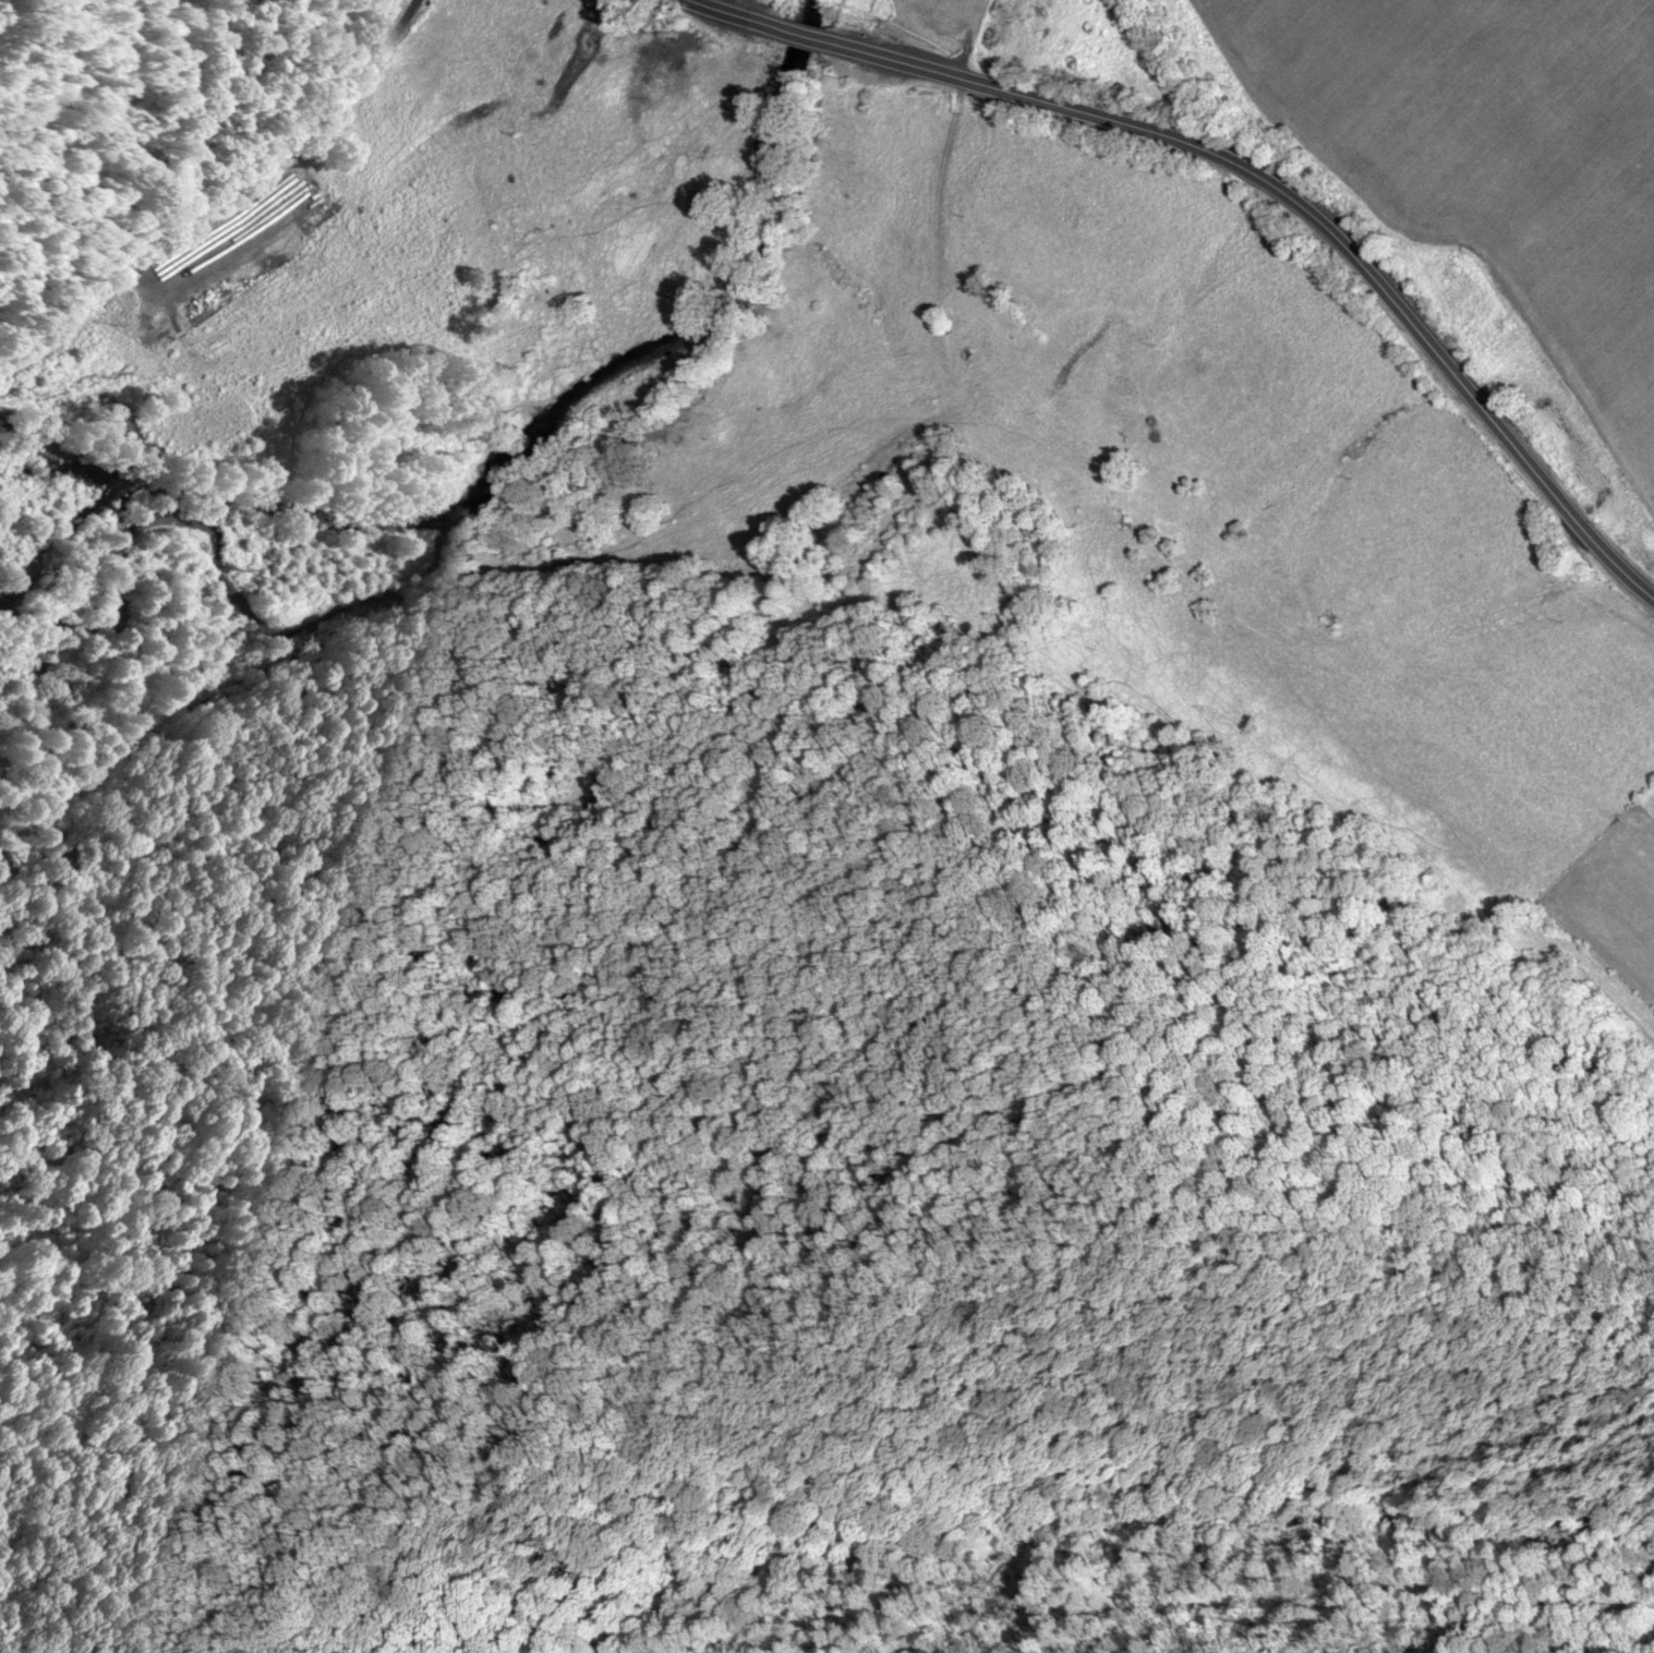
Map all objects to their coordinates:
road: (721, 7)
road: (786, 26)
road: (200, 169)
road: (1315, 212)

